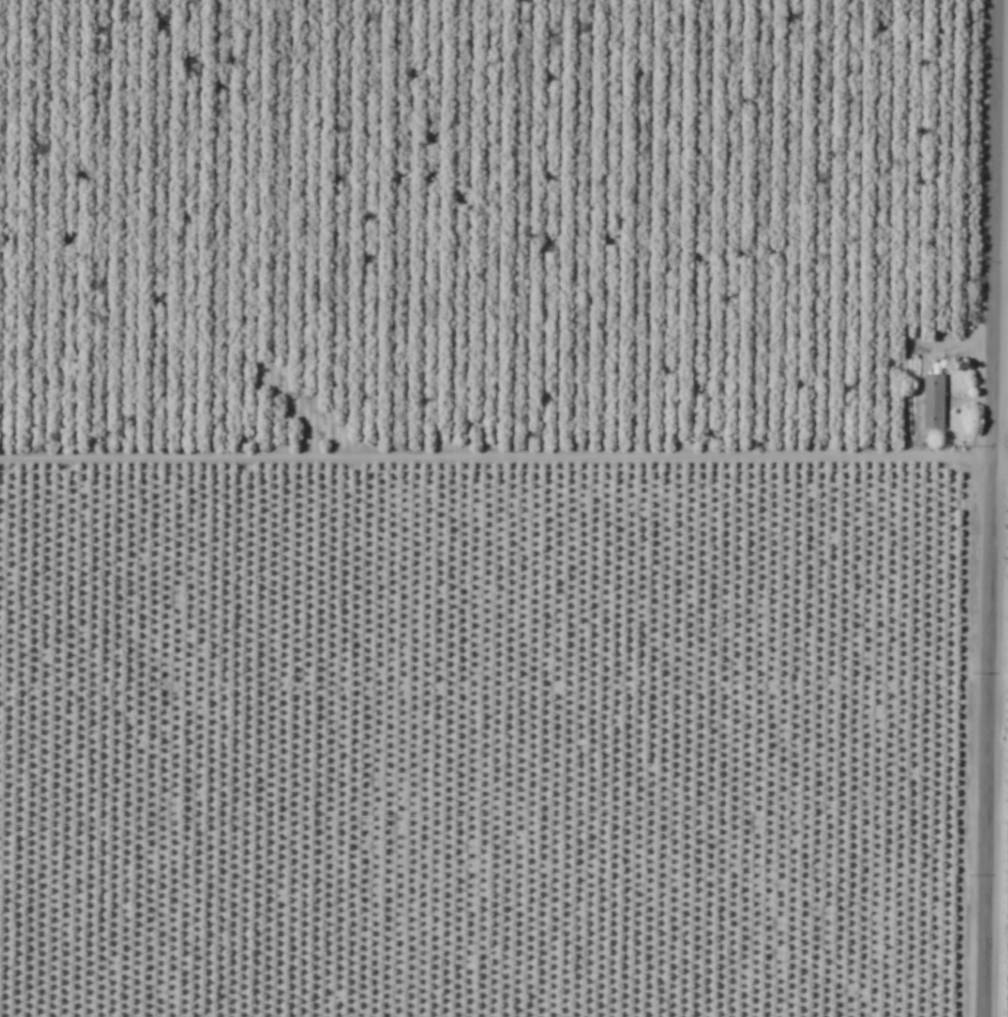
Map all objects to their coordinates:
road: (1003, 45)
building: (932, 402)
road: (504, 445)
crop: (504, 508)
road: (991, 508)
road: (999, 542)

